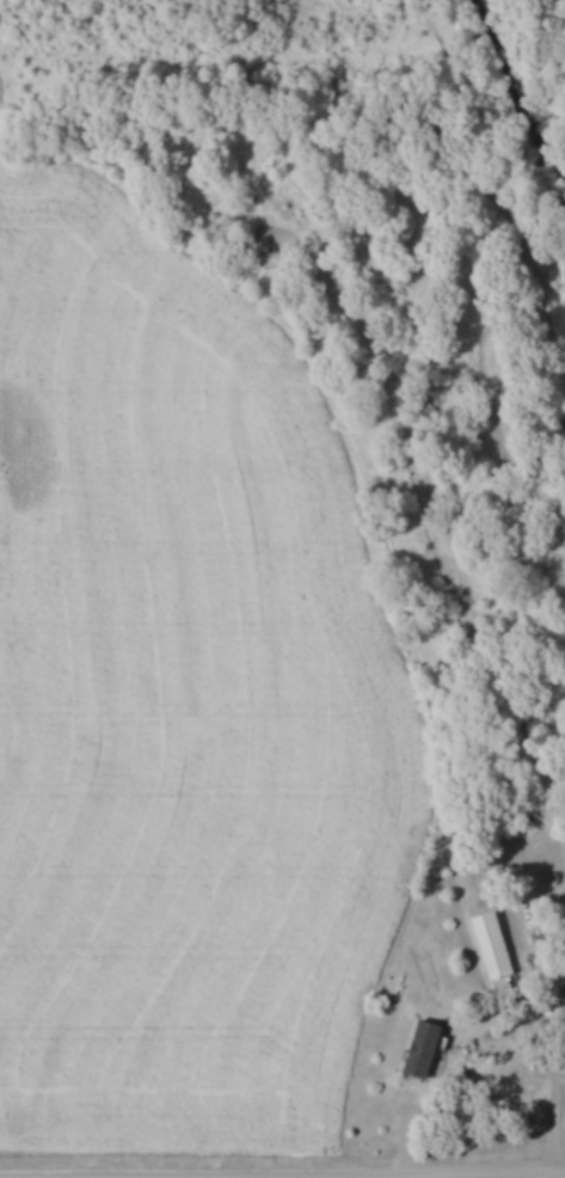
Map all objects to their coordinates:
building: (487, 944)
building: (417, 1048)
road: (557, 1078)
road: (542, 1177)

